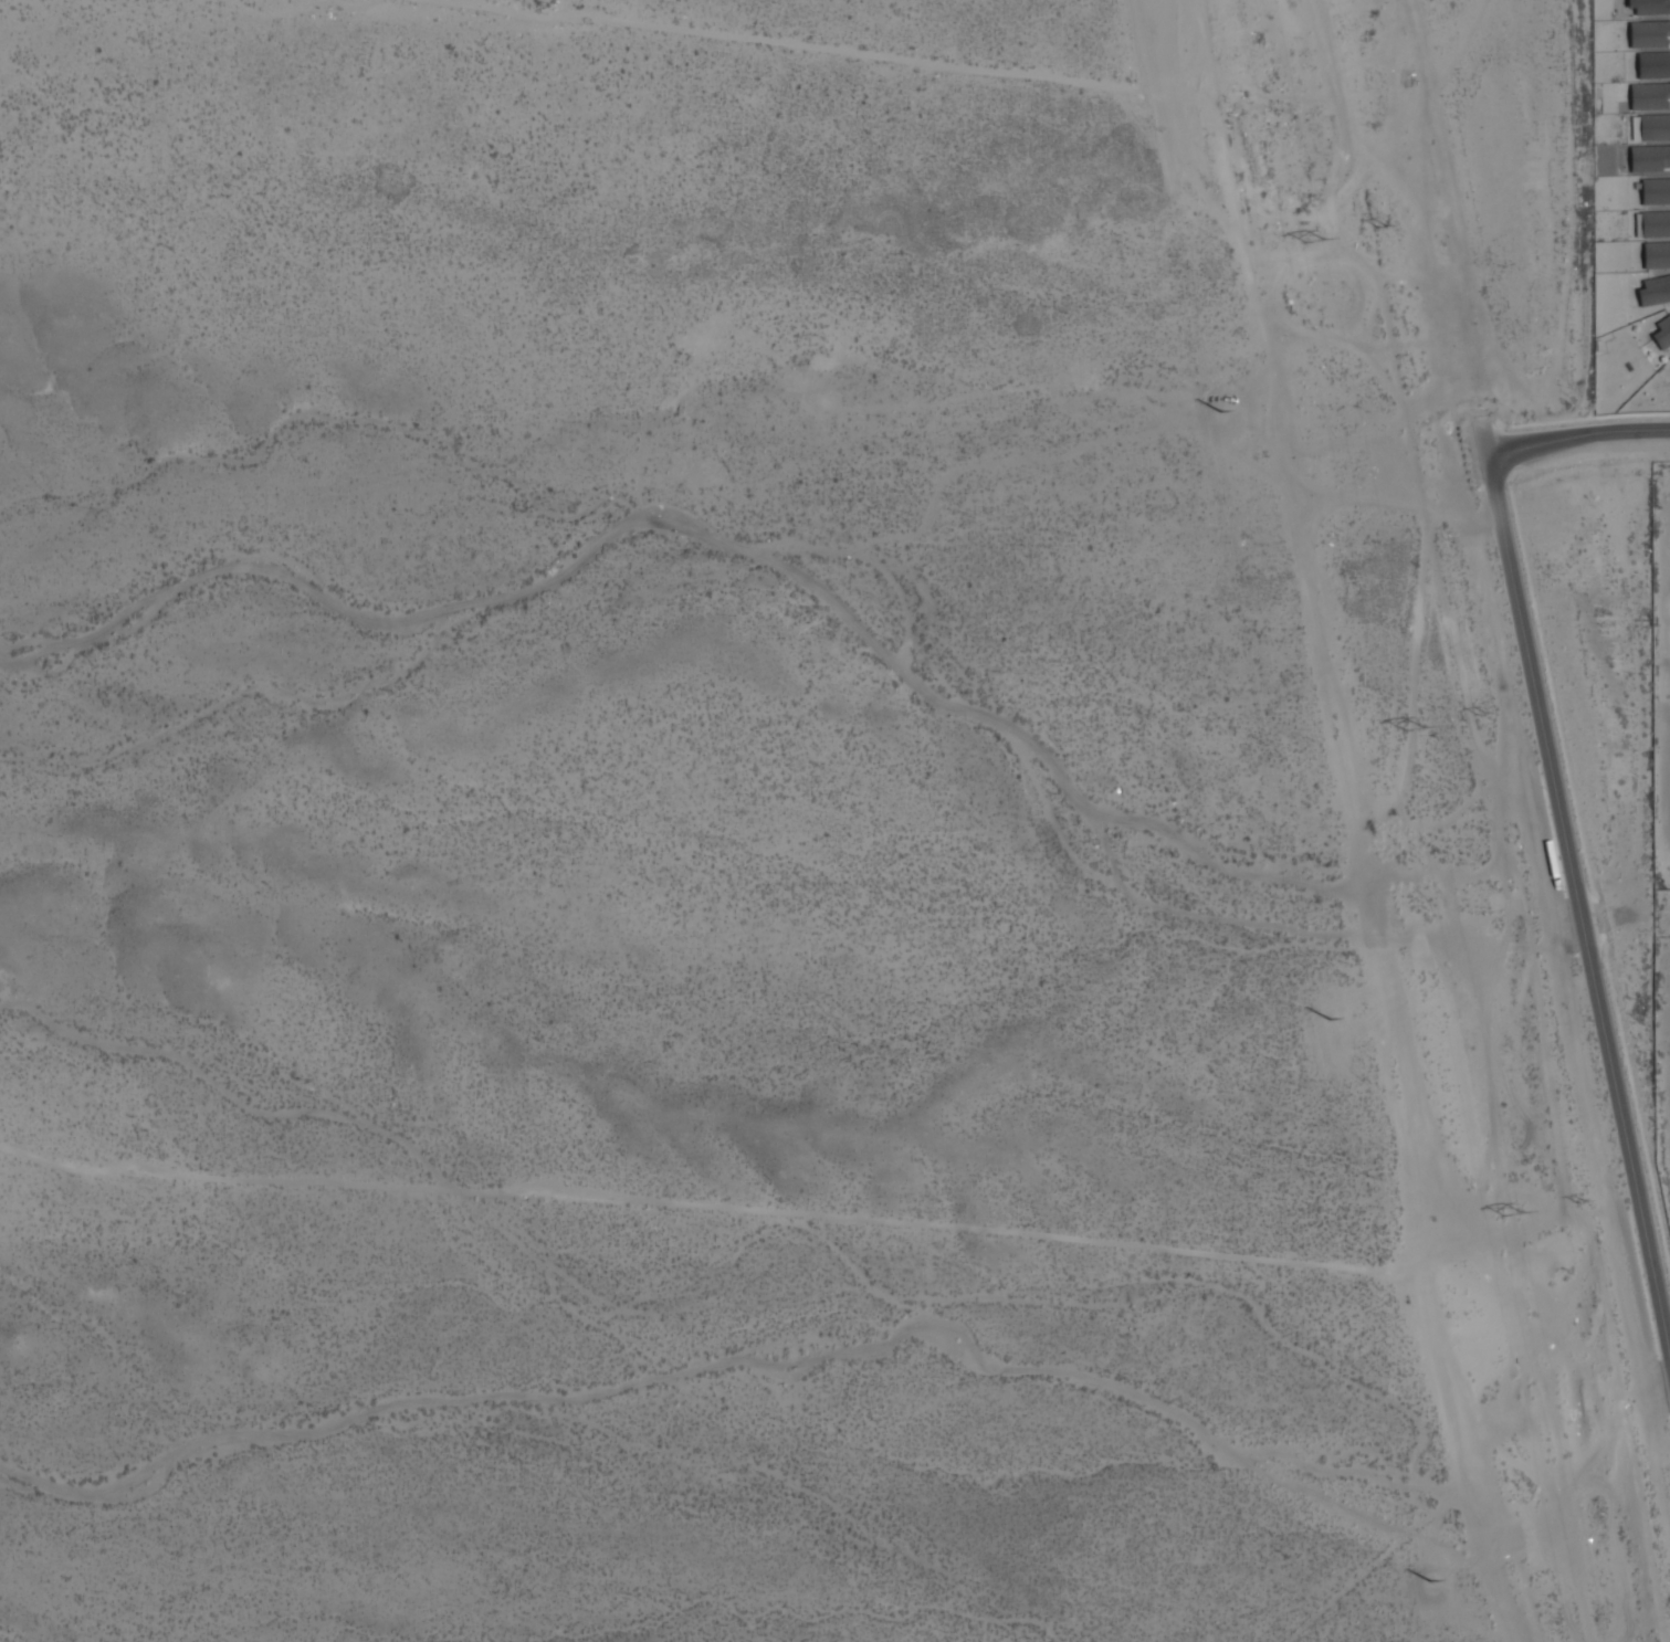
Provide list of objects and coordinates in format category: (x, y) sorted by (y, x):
building: (1652, 151)
power tower: (1382, 228)
power tower: (1314, 242)
power tower: (1221, 412)
road: (1578, 436)
power tower: (1481, 716)
power tower: (1417, 731)
road: (1576, 887)
road: (1626, 914)
power tower: (1331, 1019)
power tower: (1580, 1206)
power tower: (1515, 1219)
power tower: (1430, 1581)

